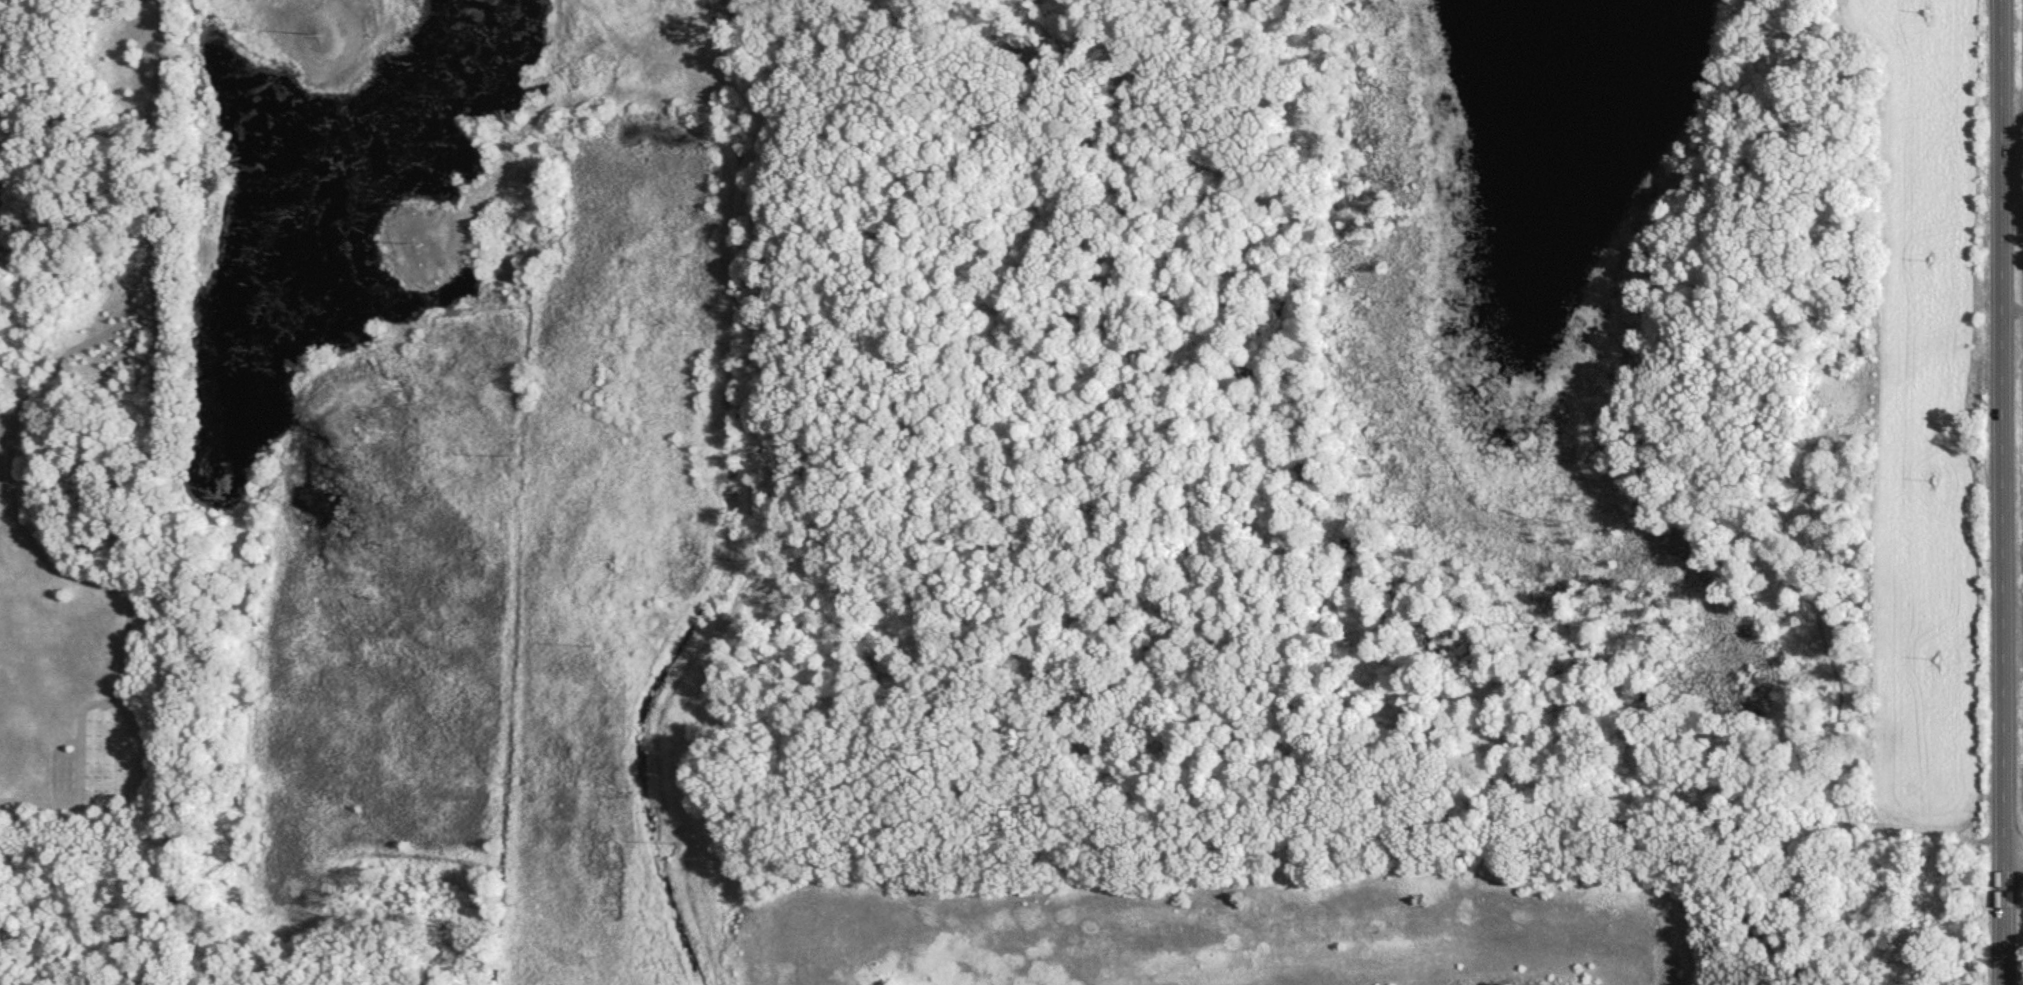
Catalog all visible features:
road: (2008, 492)
road: (2017, 852)

